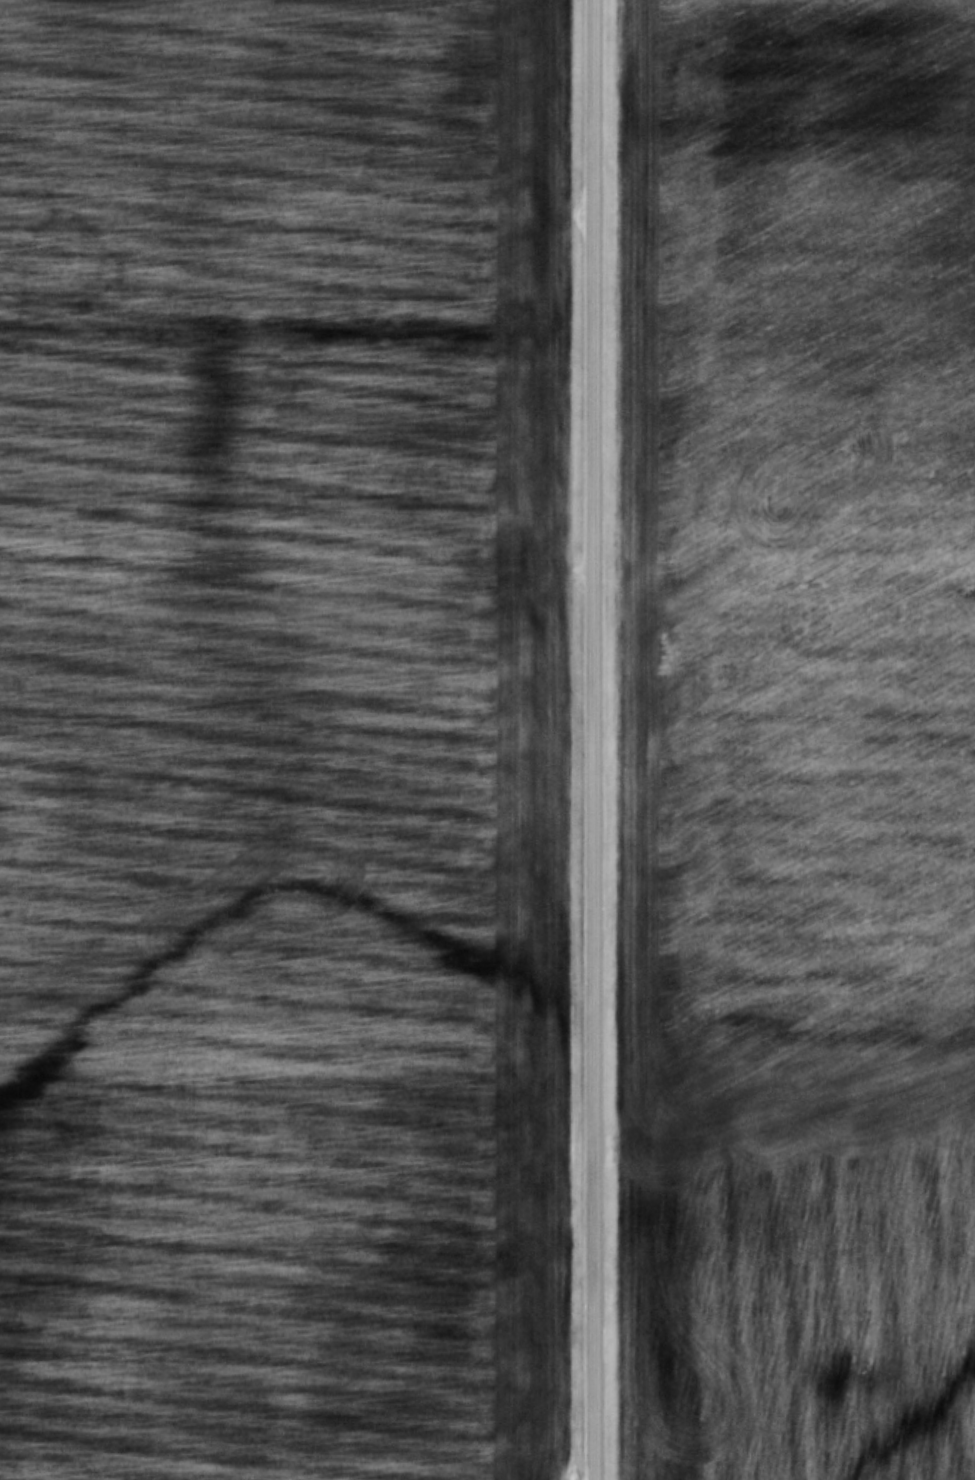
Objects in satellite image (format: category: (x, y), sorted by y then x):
crop: (796, 579)
crop: (285, 739)
road: (599, 740)
crop: (791, 1315)

